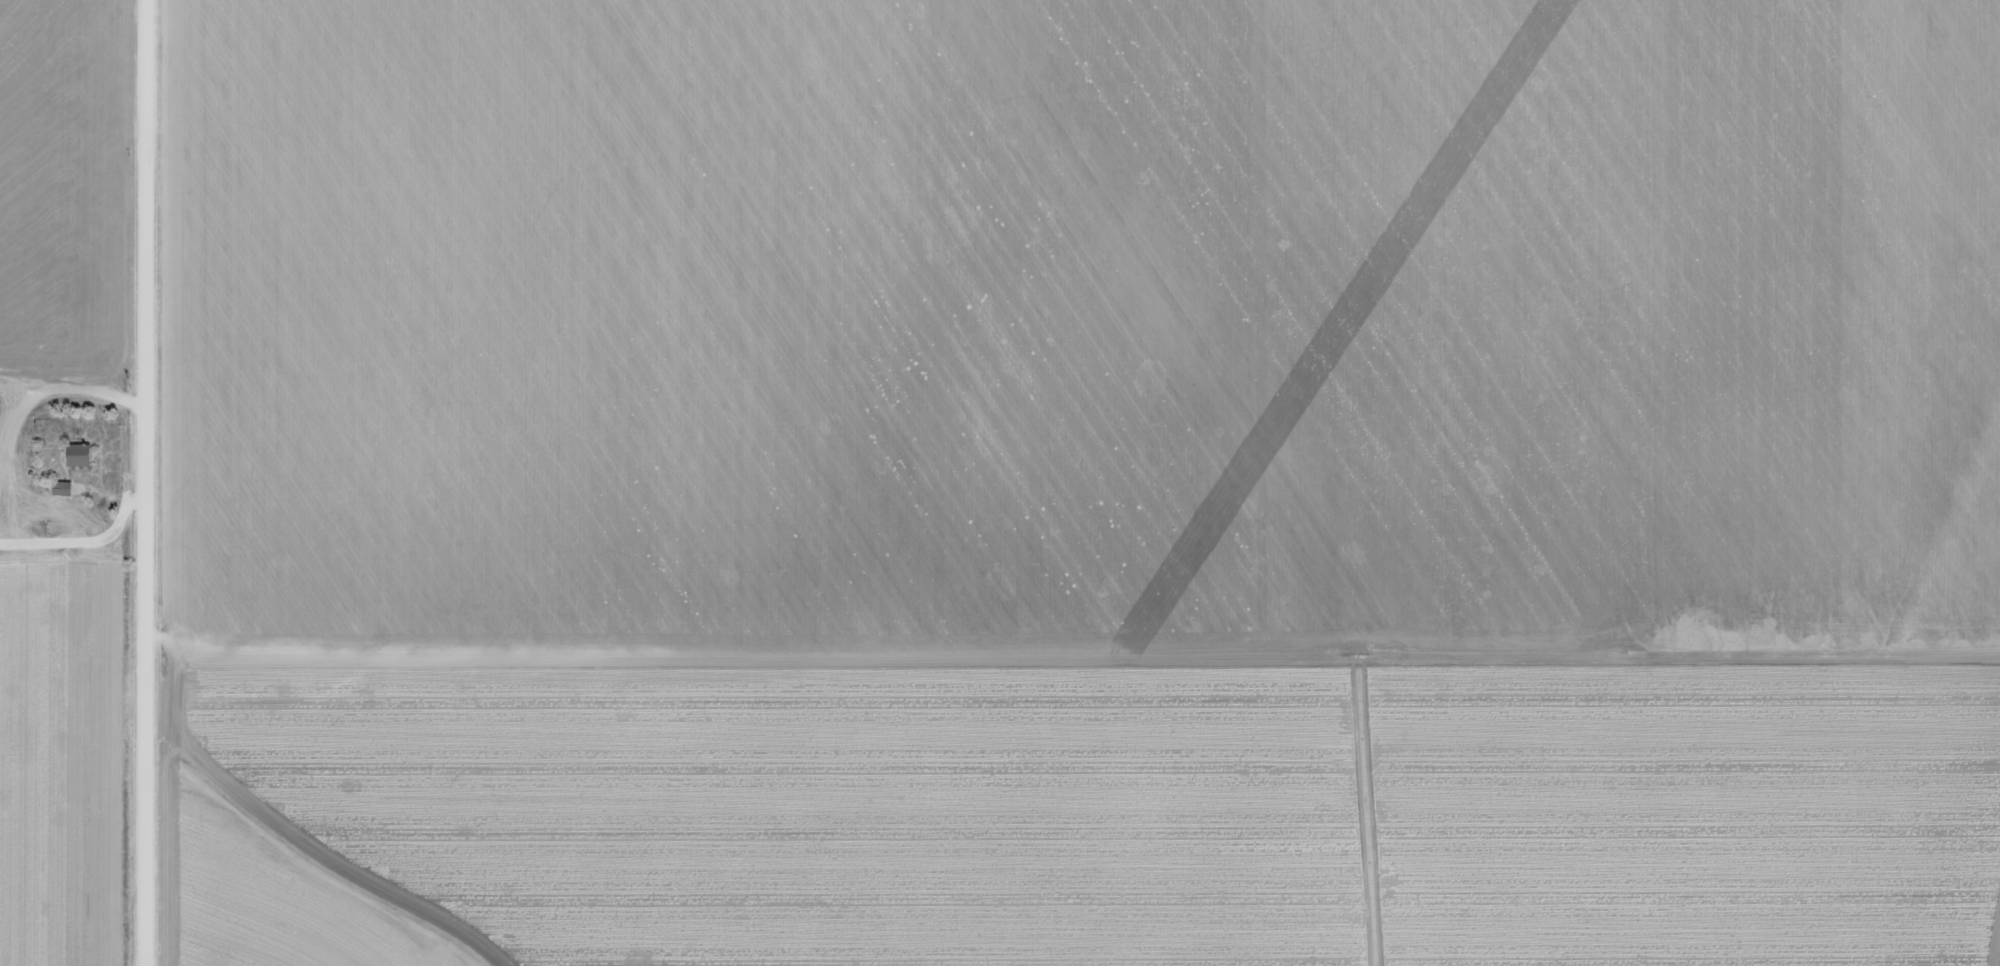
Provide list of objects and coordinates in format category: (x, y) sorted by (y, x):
building: (78, 457)
road: (129, 482)
building: (63, 490)

